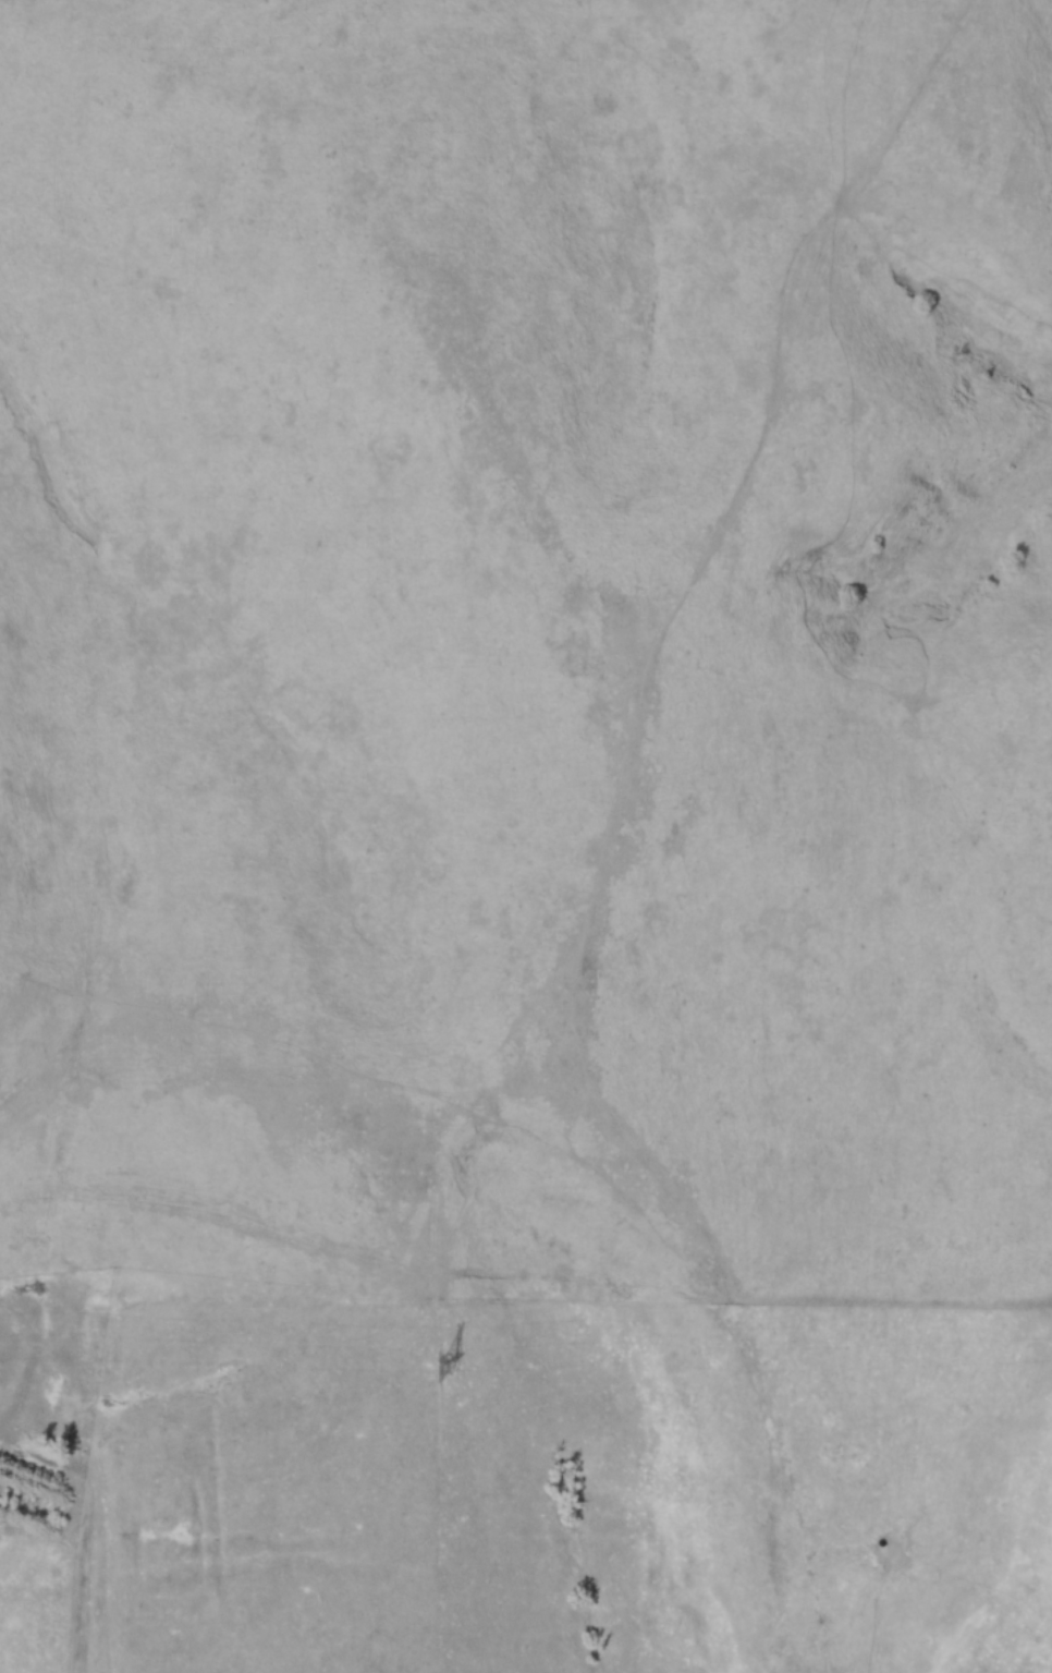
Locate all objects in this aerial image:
power tower: (442, 1367)

